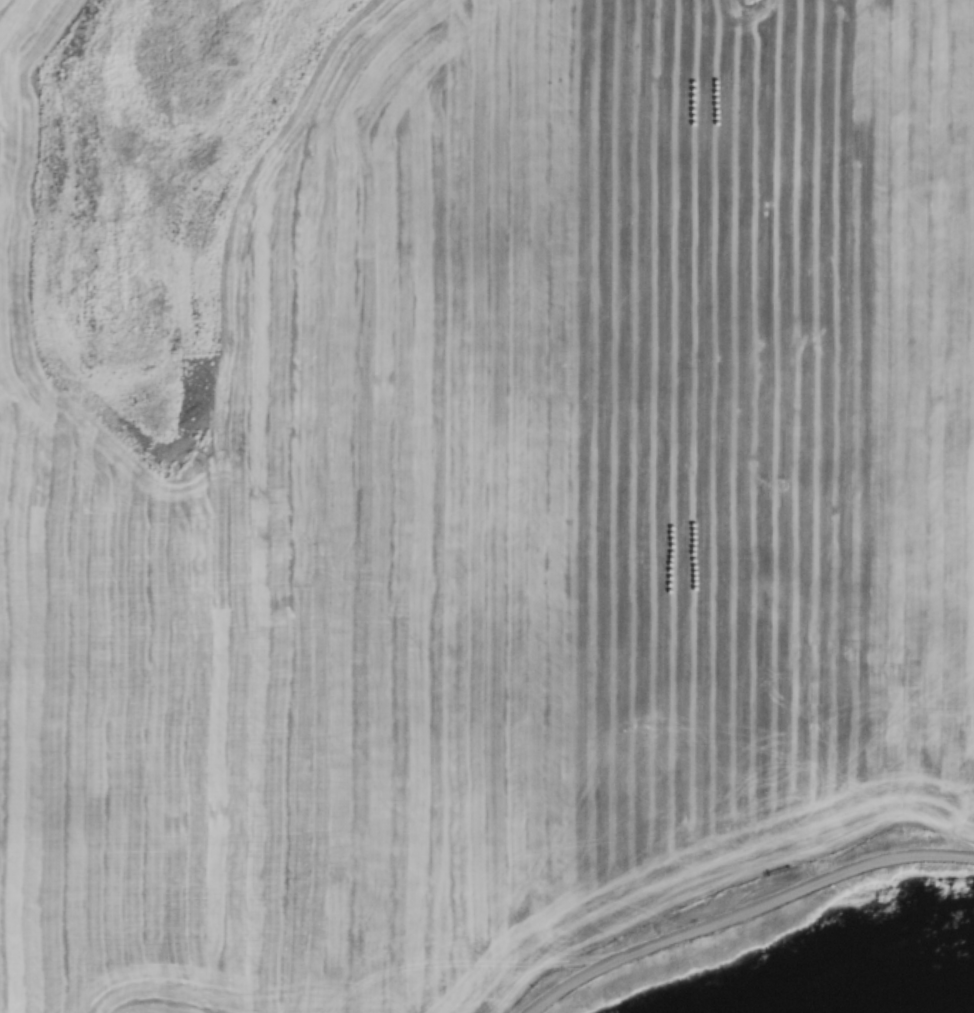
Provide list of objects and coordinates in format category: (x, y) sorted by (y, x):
road: (749, 915)

